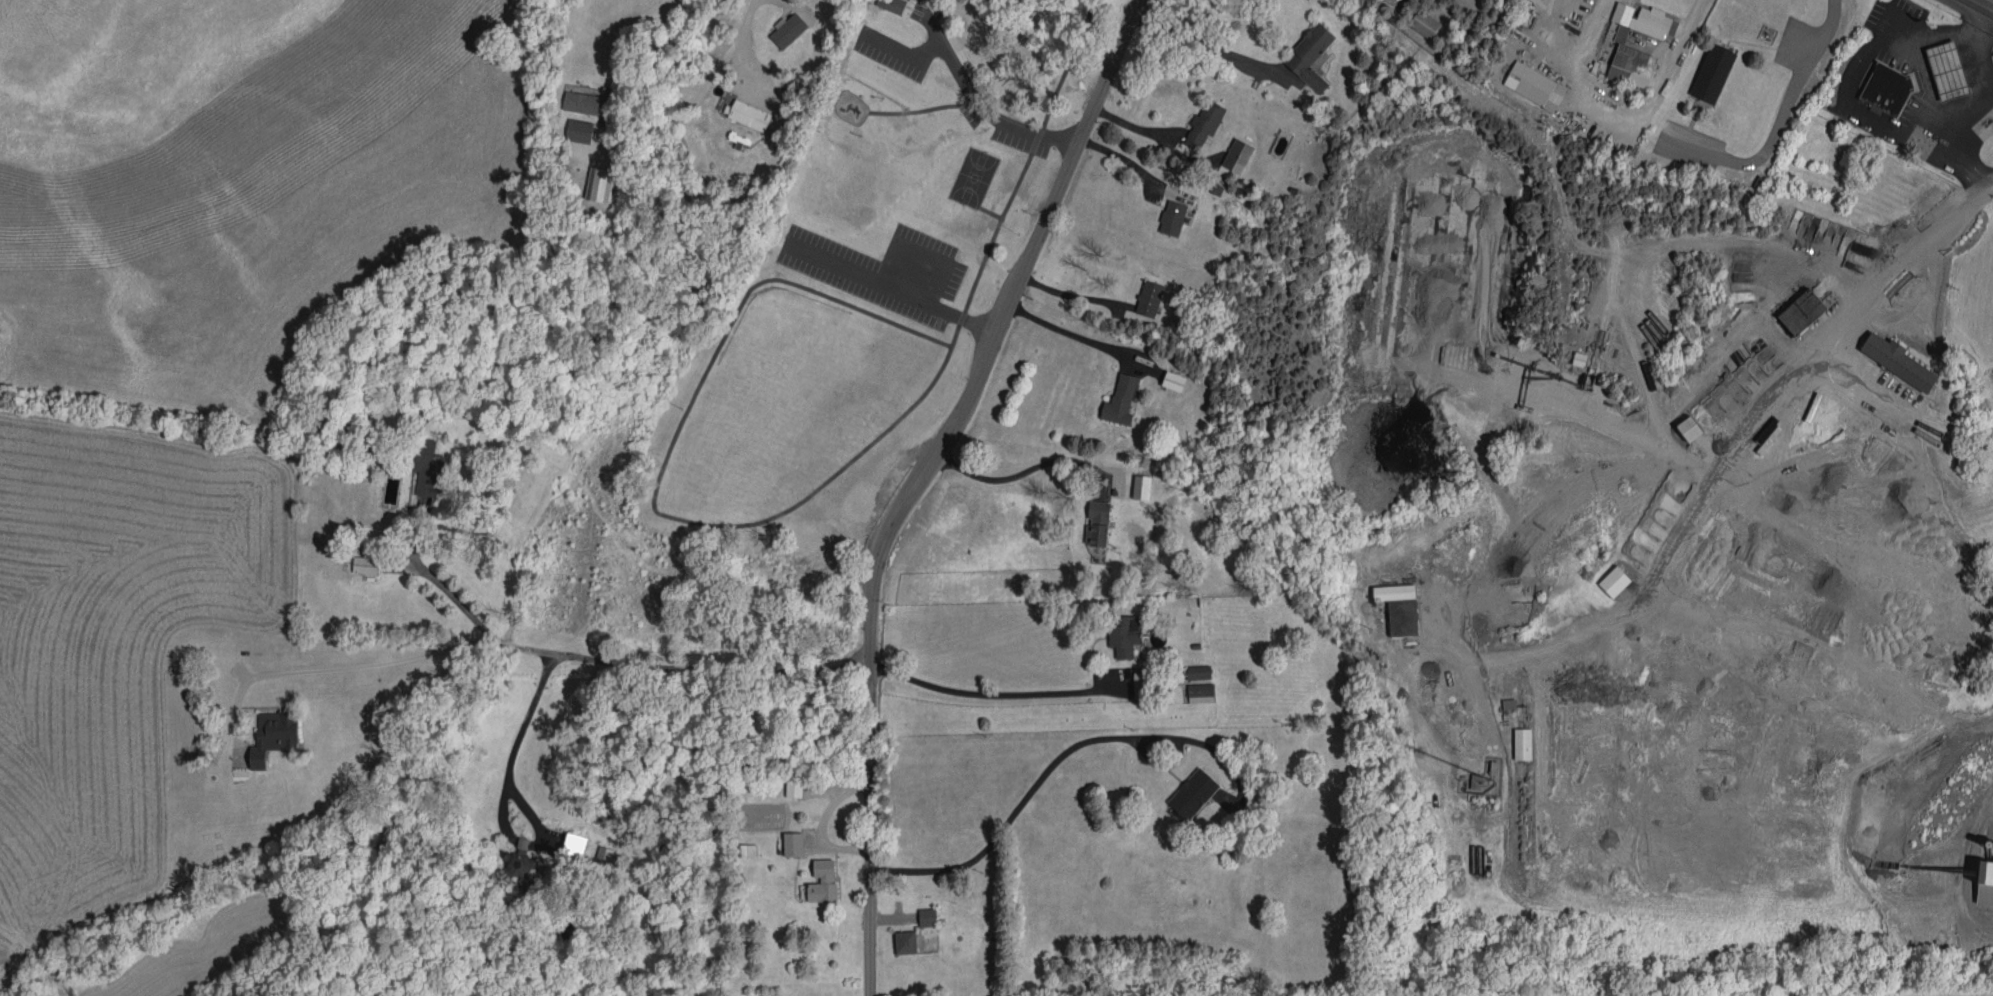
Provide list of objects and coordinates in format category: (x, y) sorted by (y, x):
road: (1082, 1)
building: (888, 4)
road: (1984, 4)
road: (793, 6)
building: (1640, 16)
building: (783, 26)
road: (1973, 41)
road: (1208, 44)
building: (1305, 53)
road: (741, 60)
building: (1627, 63)
building: (1708, 71)
road: (1852, 71)
building: (1946, 71)
building: (1530, 82)
building: (1886, 89)
road: (695, 90)
building: (576, 99)
road: (979, 104)
building: (742, 111)
building: (1199, 121)
road: (1779, 123)
building: (574, 127)
road: (1946, 133)
building: (1232, 151)
road: (1125, 158)
building: (593, 182)
building: (1167, 213)
road: (1901, 256)
park: (869, 276)
building: (1143, 294)
road: (1071, 296)
road: (919, 300)
building: (1797, 307)
road: (1076, 334)
building: (1893, 356)
building: (1168, 376)
building: (1115, 396)
building: (1684, 423)
building: (341, 434)
building: (421, 463)
road: (1019, 470)
road: (921, 478)
building: (1136, 482)
road: (789, 505)
building: (1092, 519)
building: (1609, 577)
road: (440, 583)
building: (1394, 603)
building: (1119, 631)
road: (562, 653)
building: (1193, 668)
building: (1195, 689)
road: (986, 693)
building: (267, 732)
road: (521, 733)
building: (1518, 740)
road: (1051, 757)
road: (1153, 765)
building: (788, 782)
building: (1187, 789)
building: (787, 840)
building: (567, 841)
building: (740, 846)
building: (494, 874)
building: (816, 878)
building: (1983, 878)
building: (922, 913)
building: (899, 938)

